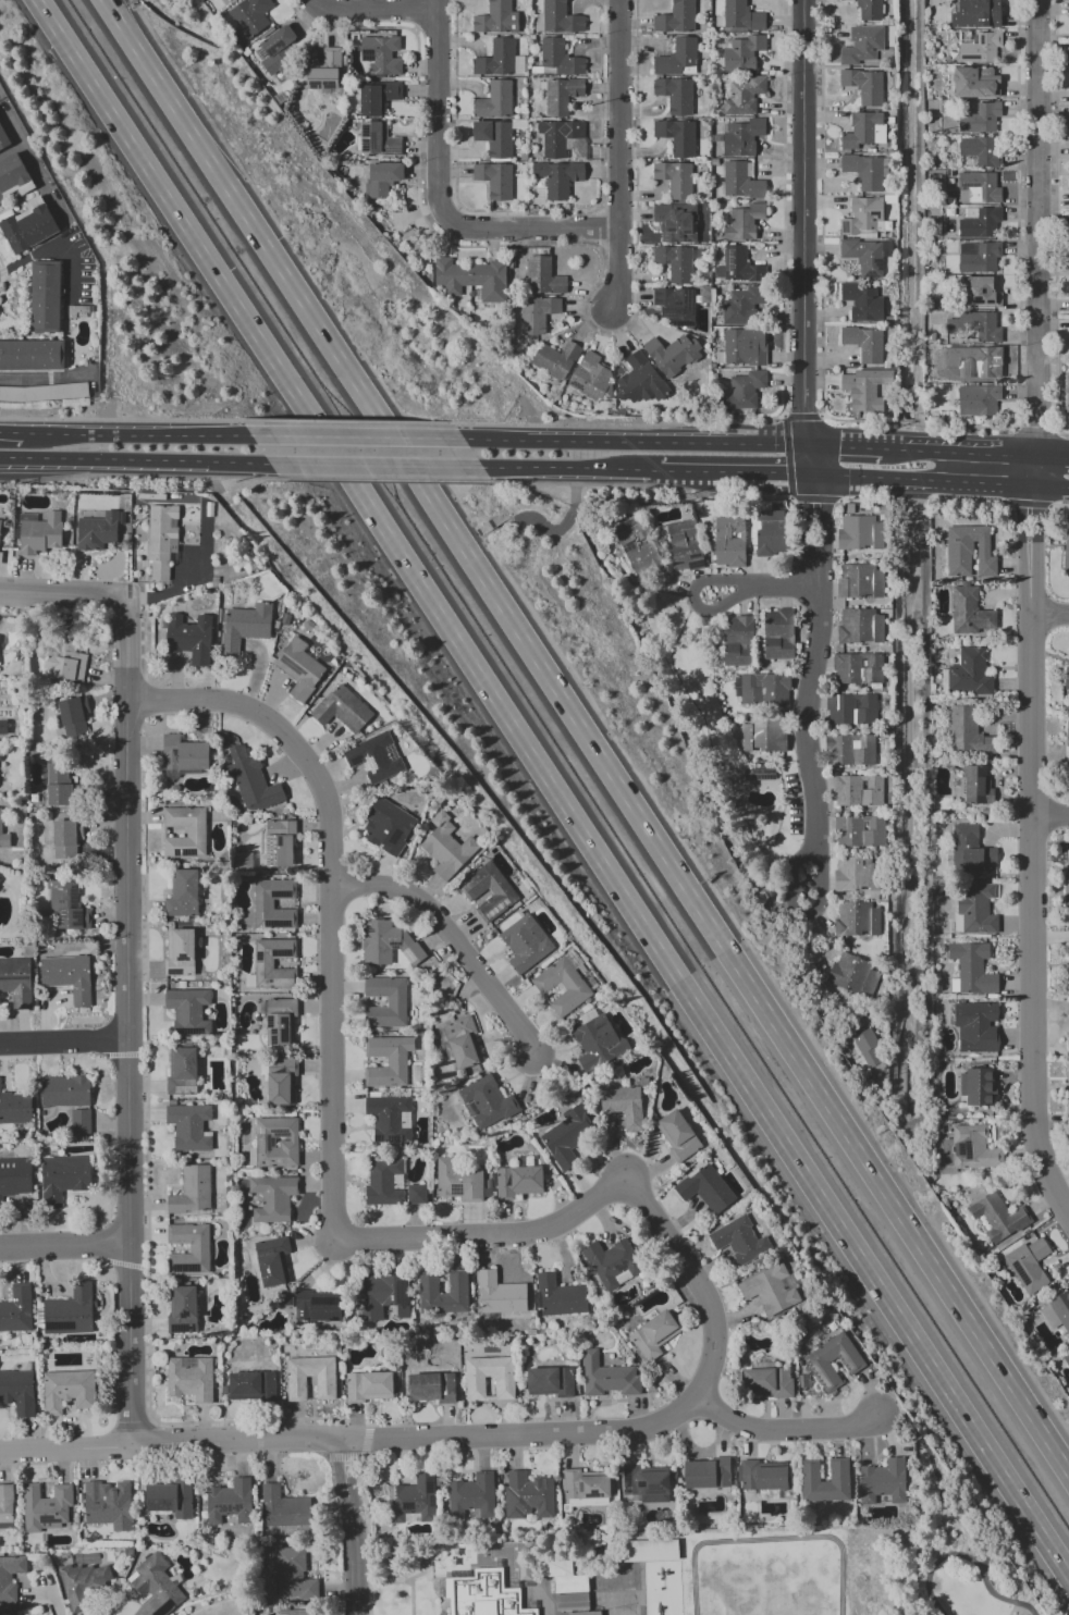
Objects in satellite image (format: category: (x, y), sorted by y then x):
building: (230, 0)
building: (232, 0)
road: (438, 4)
road: (109, 8)
road: (376, 9)
building: (871, 10)
building: (978, 13)
road: (416, 15)
building: (251, 16)
building: (496, 17)
building: (561, 17)
building: (677, 17)
building: (740, 17)
building: (863, 46)
building: (981, 49)
rooftop solar panel: (272, 50)
building: (279, 52)
building: (742, 53)
rooftop solar panel: (260, 54)
rooftop solar panel: (368, 54)
building: (382, 54)
building: (558, 59)
building: (679, 59)
building: (500, 60)
building: (328, 73)
building: (976, 83)
building: (864, 85)
building: (561, 95)
building: (676, 95)
building: (378, 96)
building: (745, 96)
building: (496, 101)
road: (439, 113)
building: (981, 119)
rooftop solar panel: (368, 130)
building: (864, 130)
building: (678, 136)
building: (3, 137)
building: (744, 137)
building: (562, 138)
rooftop solar panel: (374, 139)
building: (495, 139)
building: (379, 141)
rooftop solar panel: (369, 146)
rooftop solar panel: (395, 150)
building: (980, 152)
road: (619, 157)
building: (867, 171)
building: (13, 176)
building: (558, 177)
building: (383, 178)
building: (676, 178)
building: (495, 180)
building: (741, 182)
building: (979, 187)
road: (530, 210)
building: (867, 214)
road: (1056, 219)
building: (742, 221)
building: (677, 222)
building: (982, 223)
building: (28, 226)
road: (599, 227)
road: (532, 229)
rooftop solar panel: (690, 233)
rooftop solar panel: (667, 236)
road: (804, 237)
rooftop solar panel: (686, 239)
road: (1039, 243)
road: (570, 246)
building: (867, 255)
building: (979, 257)
building: (677, 261)
rooftop solar panel: (877, 263)
building: (739, 266)
rooftop solar panel: (869, 274)
building: (544, 276)
building: (474, 279)
road: (4, 283)
building: (980, 293)
building: (46, 297)
building: (935, 301)
building: (863, 303)
rooftop solar panel: (690, 304)
building: (744, 305)
building: (676, 306)
building: (78, 310)
building: (538, 313)
rooftop solar panel: (667, 316)
rooftop solar panel: (685, 323)
building: (976, 326)
building: (864, 343)
building: (744, 347)
building: (673, 354)
building: (33, 356)
building: (557, 359)
building: (982, 360)
building: (592, 379)
building: (641, 381)
road: (785, 384)
rooftop solar panel: (577, 385)
building: (867, 390)
building: (745, 391)
building: (1068, 391)
building: (45, 392)
building: (980, 399)
traffic signals: (806, 410)
road: (130, 419)
road: (345, 421)
road: (923, 424)
road: (1037, 426)
road: (11, 432)
road: (146, 433)
road: (786, 434)
road: (355, 435)
road: (624, 441)
traffic signals: (840, 447)
road: (845, 447)
road: (959, 454)
road: (1052, 458)
road: (145, 463)
road: (374, 465)
road: (558, 467)
road: (685, 470)
road: (762, 471)
traffic signals: (787, 472)
road: (149, 476)
road: (890, 478)
road: (384, 480)
road: (1000, 483)
road: (630, 484)
road: (1050, 485)
road: (813, 498)
road: (922, 502)
road: (1030, 503)
traffic signals: (815, 505)
road: (1060, 505)
road: (564, 525)
building: (96, 531)
building: (771, 531)
building: (38, 532)
building: (857, 532)
building: (728, 541)
building: (684, 545)
rooftop solar panel: (629, 547)
building: (1066, 547)
building: (637, 550)
building: (969, 552)
rooftop solar panel: (695, 556)
rooftop solar panel: (695, 565)
building: (859, 582)
road: (762, 587)
road: (63, 594)
building: (970, 613)
road: (1048, 613)
building: (244, 626)
building: (859, 626)
building: (777, 633)
building: (188, 638)
building: (737, 640)
building: (63, 658)
rooftop solar panel: (291, 665)
building: (298, 668)
building: (857, 668)
building: (969, 673)
building: (1066, 679)
building: (763, 689)
road: (818, 689)
building: (856, 708)
building: (342, 710)
building: (73, 716)
building: (2, 727)
building: (966, 731)
building: (762, 735)
building: (1067, 742)
road: (591, 744)
building: (849, 750)
rooftop solar panel: (391, 752)
building: (183, 753)
building: (374, 757)
rooftop solar panel: (356, 763)
rooftop solar panel: (368, 765)
building: (759, 774)
building: (250, 780)
building: (56, 782)
building: (975, 785)
road: (551, 789)
building: (859, 790)
road: (1053, 816)
building: (388, 827)
building: (859, 830)
building: (195, 831)
building: (3, 837)
building: (65, 838)
rooftop solar panel: (394, 838)
rooftop solar panel: (278, 842)
building: (279, 843)
rooftop solar panel: (265, 845)
rooftop solar panel: (272, 846)
building: (445, 847)
building: (970, 850)
road: (1036, 853)
rooftop solar panel: (185, 854)
rooftop solar panel: (174, 855)
rooftop solar panel: (272, 858)
rooftop solar panel: (267, 862)
building: (850, 874)
building: (0, 878)
building: (1066, 878)
building: (487, 891)
building: (182, 895)
rooftop solar panel: (278, 895)
building: (262, 904)
building: (66, 905)
building: (974, 909)
building: (856, 919)
rooftop solar panel: (278, 924)
road: (447, 938)
building: (525, 942)
building: (389, 944)
rooftop solar panel: (394, 944)
building: (179, 951)
building: (1068, 951)
rooftop solar panel: (281, 954)
rooftop solar panel: (407, 958)
rooftop solar panel: (256, 959)
rooftop solar panel: (182, 960)
building: (262, 963)
building: (972, 967)
building: (847, 972)
rooftop solar panel: (173, 973)
building: (67, 976)
building: (15, 981)
building: (870, 982)
building: (561, 987)
building: (395, 1002)
building: (187, 1010)
rooftop solar panel: (268, 1021)
building: (280, 1021)
road: (125, 1022)
building: (975, 1026)
rooftop solar panel: (283, 1028)
rooftop solar panel: (274, 1032)
rooftop solar panel: (271, 1041)
building: (462, 1041)
building: (597, 1041)
building: (1068, 1043)
road: (63, 1044)
building: (868, 1048)
building: (388, 1060)
building: (182, 1071)
building: (1068, 1075)
building: (280, 1081)
rooftop solar panel: (188, 1084)
building: (976, 1086)
rooftop solar panel: (185, 1089)
building: (64, 1090)
building: (484, 1102)
building: (622, 1106)
building: (14, 1108)
building: (389, 1118)
building: (79, 1121)
building: (188, 1126)
rooftop solar panel: (258, 1130)
rooftop solar panel: (279, 1132)
building: (567, 1135)
building: (676, 1135)
rooftop solar panel: (402, 1138)
rooftop solar panel: (390, 1139)
rooftop solar panel: (269, 1142)
building: (275, 1142)
rooftop solar panel: (258, 1146)
building: (973, 1148)
rooftop solar panel: (964, 1149)
rooftop solar panel: (271, 1160)
rooftop solar panel: (283, 1161)
rooftop solar panel: (262, 1163)
road: (333, 1175)
building: (14, 1176)
building: (63, 1178)
building: (384, 1181)
building: (457, 1181)
building: (517, 1181)
building: (489, 1185)
building: (705, 1188)
building: (191, 1191)
rooftop solar panel: (455, 1191)
building: (416, 1194)
building: (272, 1197)
building: (997, 1217)
building: (739, 1241)
road: (63, 1246)
building: (198, 1248)
building: (271, 1260)
building: (613, 1262)
building: (1029, 1265)
rooftop solar panel: (183, 1268)
rooftop solar panel: (1018, 1272)
building: (456, 1282)
building: (769, 1290)
rooftop solar panel: (401, 1294)
building: (500, 1294)
building: (381, 1296)
building: (560, 1296)
rooftop solar panel: (324, 1302)
rooftop solar panel: (367, 1304)
rooftop solar panel: (512, 1305)
rooftop solar panel: (518, 1305)
building: (317, 1306)
rooftop solar panel: (495, 1306)
building: (182, 1308)
building: (16, 1309)
building: (70, 1311)
building: (1057, 1311)
rooftop solar panel: (184, 1316)
rooftop solar panel: (364, 1316)
rooftop solar panel: (57, 1326)
rooftop solar panel: (180, 1329)
building: (653, 1334)
building: (1067, 1357)
building: (818, 1359)
building: (606, 1377)
building: (189, 1378)
building: (549, 1381)
building: (766, 1382)
building: (250, 1386)
building: (368, 1386)
building: (431, 1386)
building: (324, 1388)
building: (475, 1388)
building: (66, 1390)
building: (17, 1391)
road: (751, 1433)
road: (318, 1440)
building: (838, 1470)
building: (705, 1474)
building: (762, 1476)
rooftop solar panel: (626, 1477)
building: (883, 1481)
rooftop solar panel: (666, 1482)
rooftop solar panel: (431, 1483)
building: (586, 1483)
rooftop solar panel: (642, 1483)
building: (646, 1483)
road: (941, 1489)
rooftop solar panel: (391, 1491)
rooftop solar panel: (626, 1491)
building: (471, 1495)
building: (527, 1495)
building: (170, 1499)
building: (413, 1499)
building: (229, 1502)
building: (108, 1504)
rooftop solar panel: (160, 1504)
rooftop solar panel: (407, 1504)
building: (5, 1506)
building: (45, 1507)
rooftop solar panel: (221, 1508)
building: (283, 1508)
road: (347, 1527)
building: (649, 1550)
park: (959, 1550)
road: (966, 1557)
building: (524, 1570)
building: (293, 1575)
building: (562, 1576)
track: (767, 1577)
building: (82, 1585)
building: (155, 1586)
building: (483, 1594)
building: (570, 1602)
building: (294, 1612)

